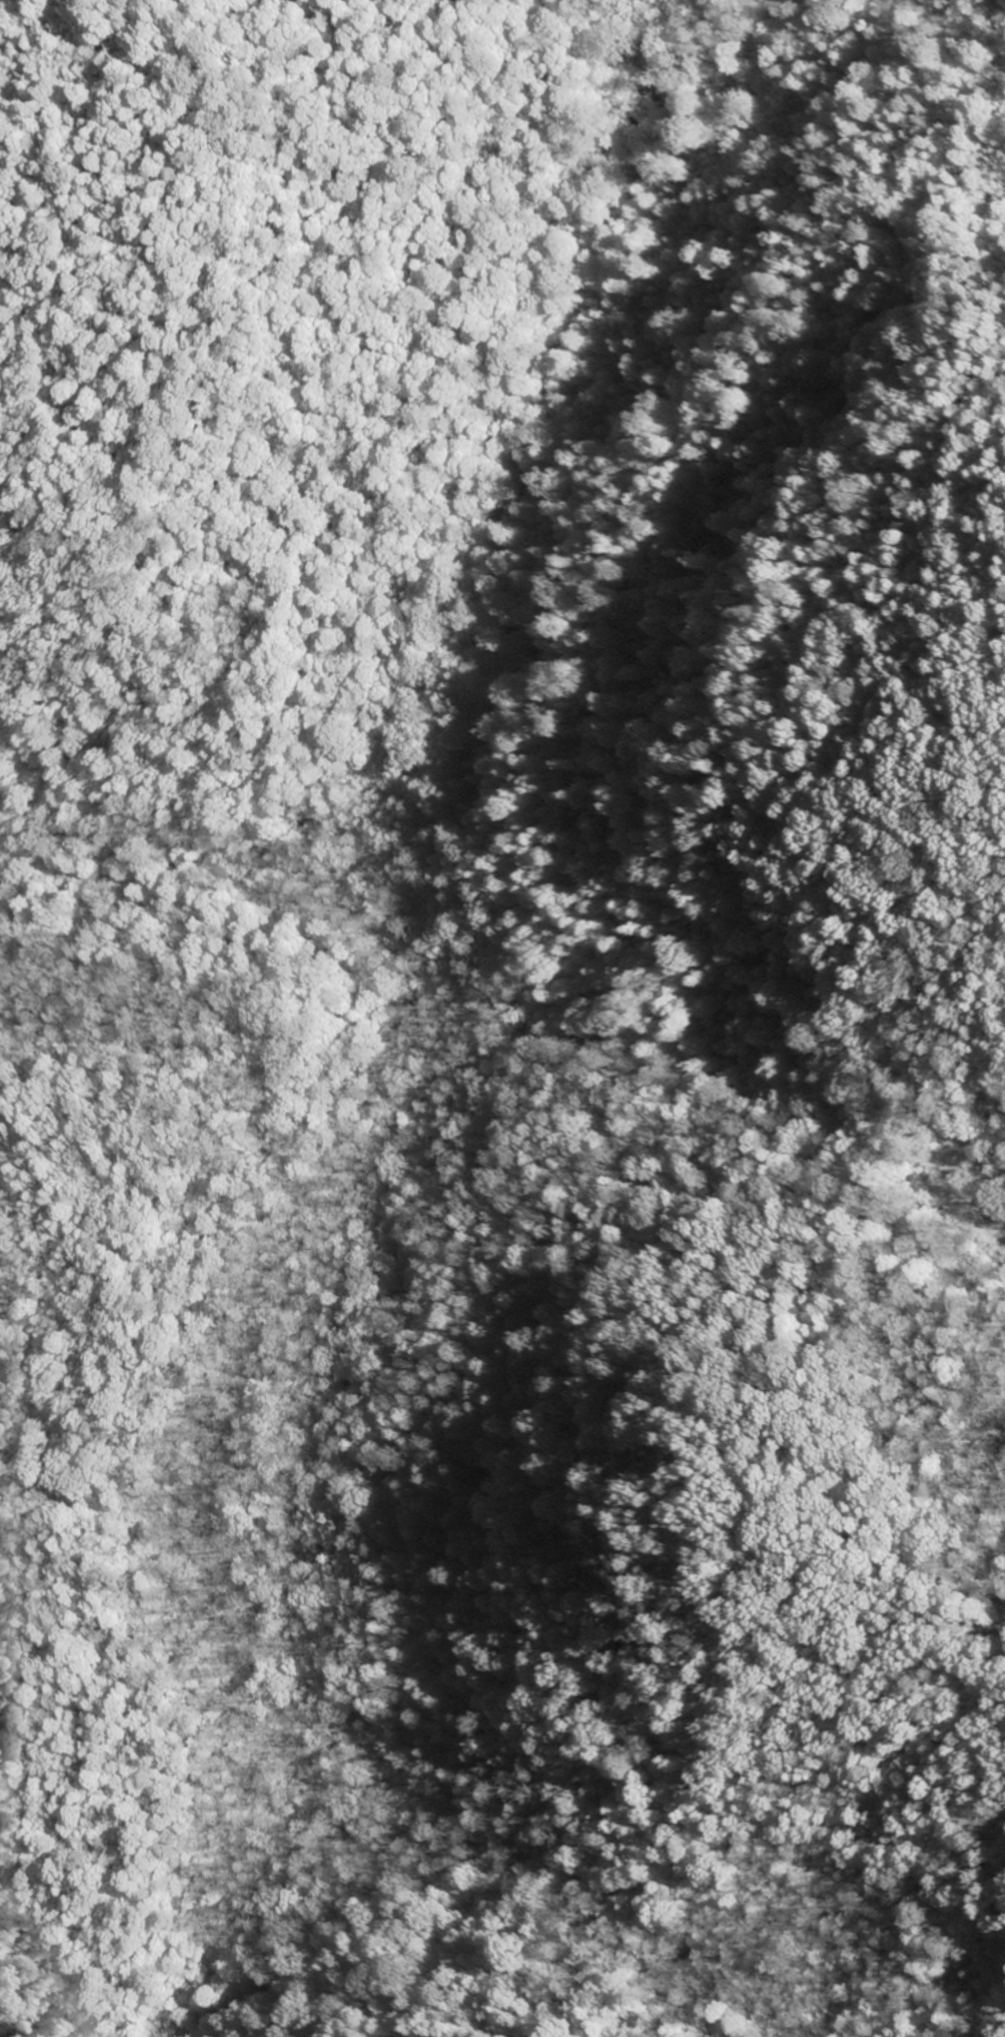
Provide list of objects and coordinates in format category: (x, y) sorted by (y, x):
road: (795, 1189)
road: (1004, 1648)

